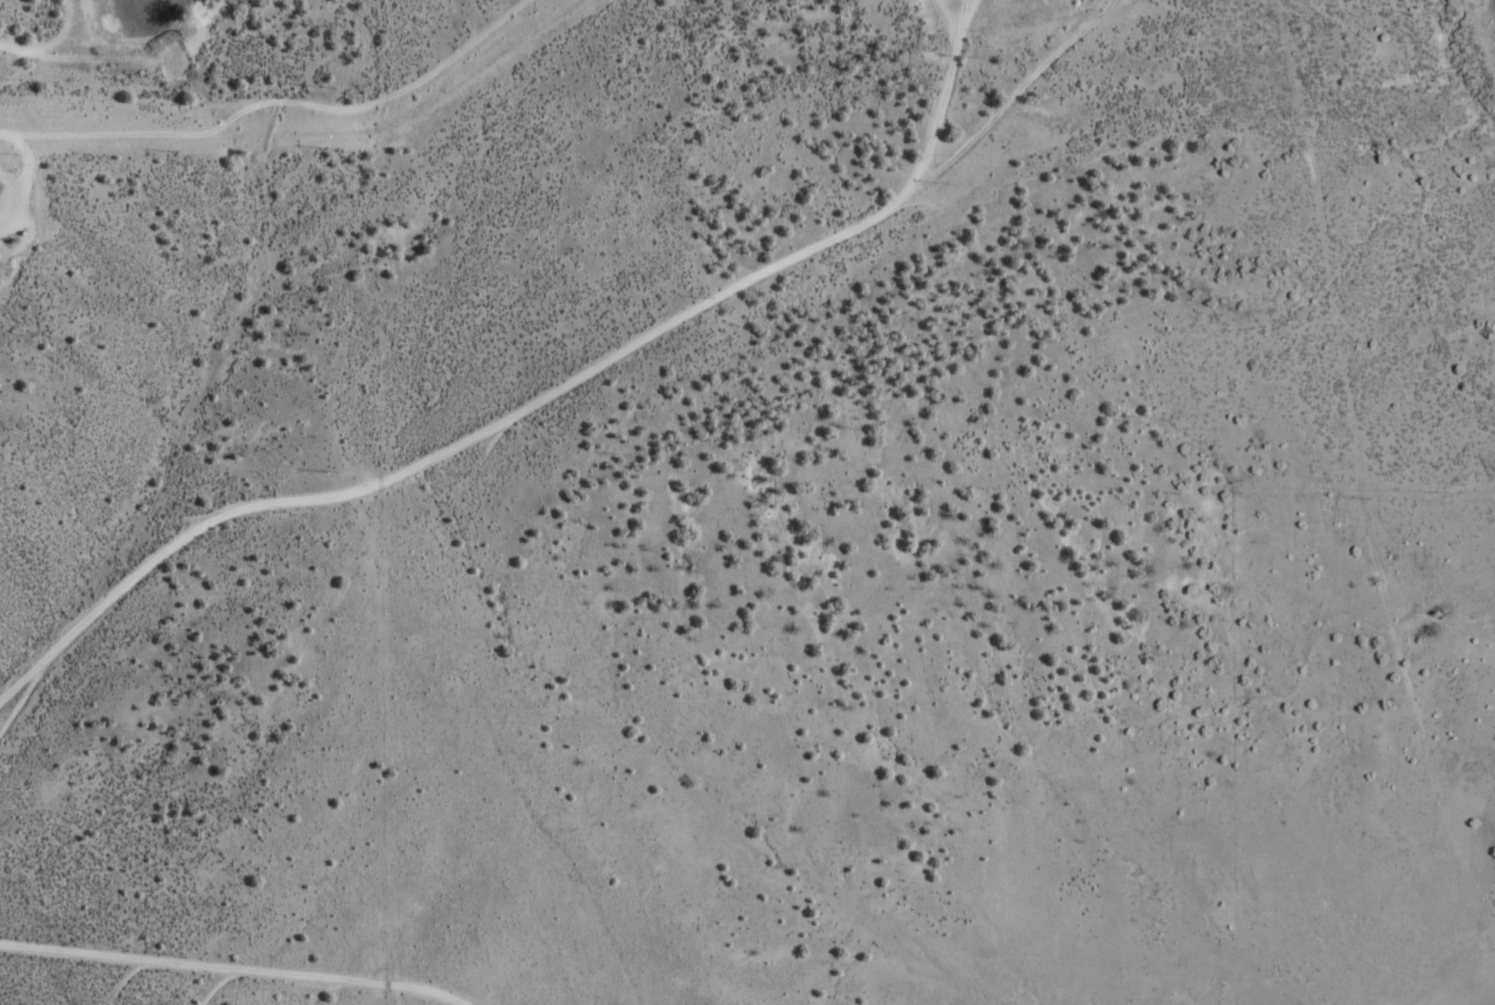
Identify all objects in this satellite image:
road: (564, 389)

